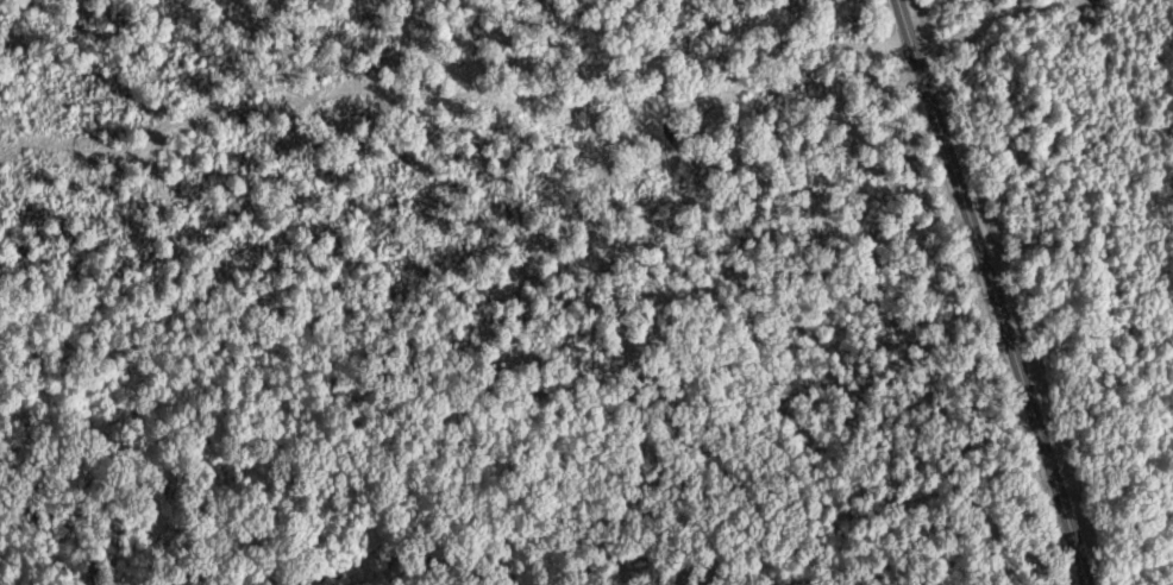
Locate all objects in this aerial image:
road: (991, 292)

